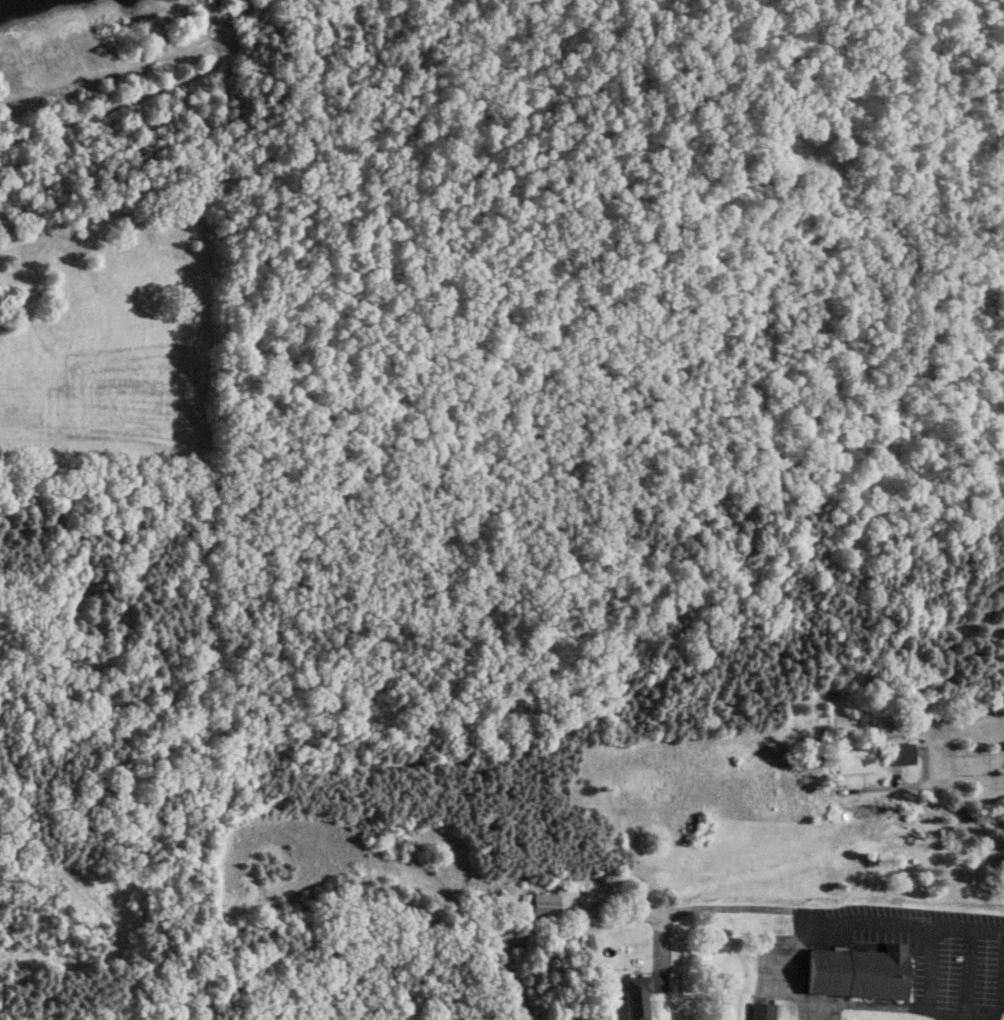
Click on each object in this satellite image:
road: (89, 100)
building: (898, 753)
building: (852, 759)
road: (938, 800)
building: (538, 905)
road: (889, 927)
road: (966, 930)
building: (856, 972)
road: (965, 975)
road: (926, 978)
road: (1001, 992)
building: (635, 996)
building: (759, 1011)

